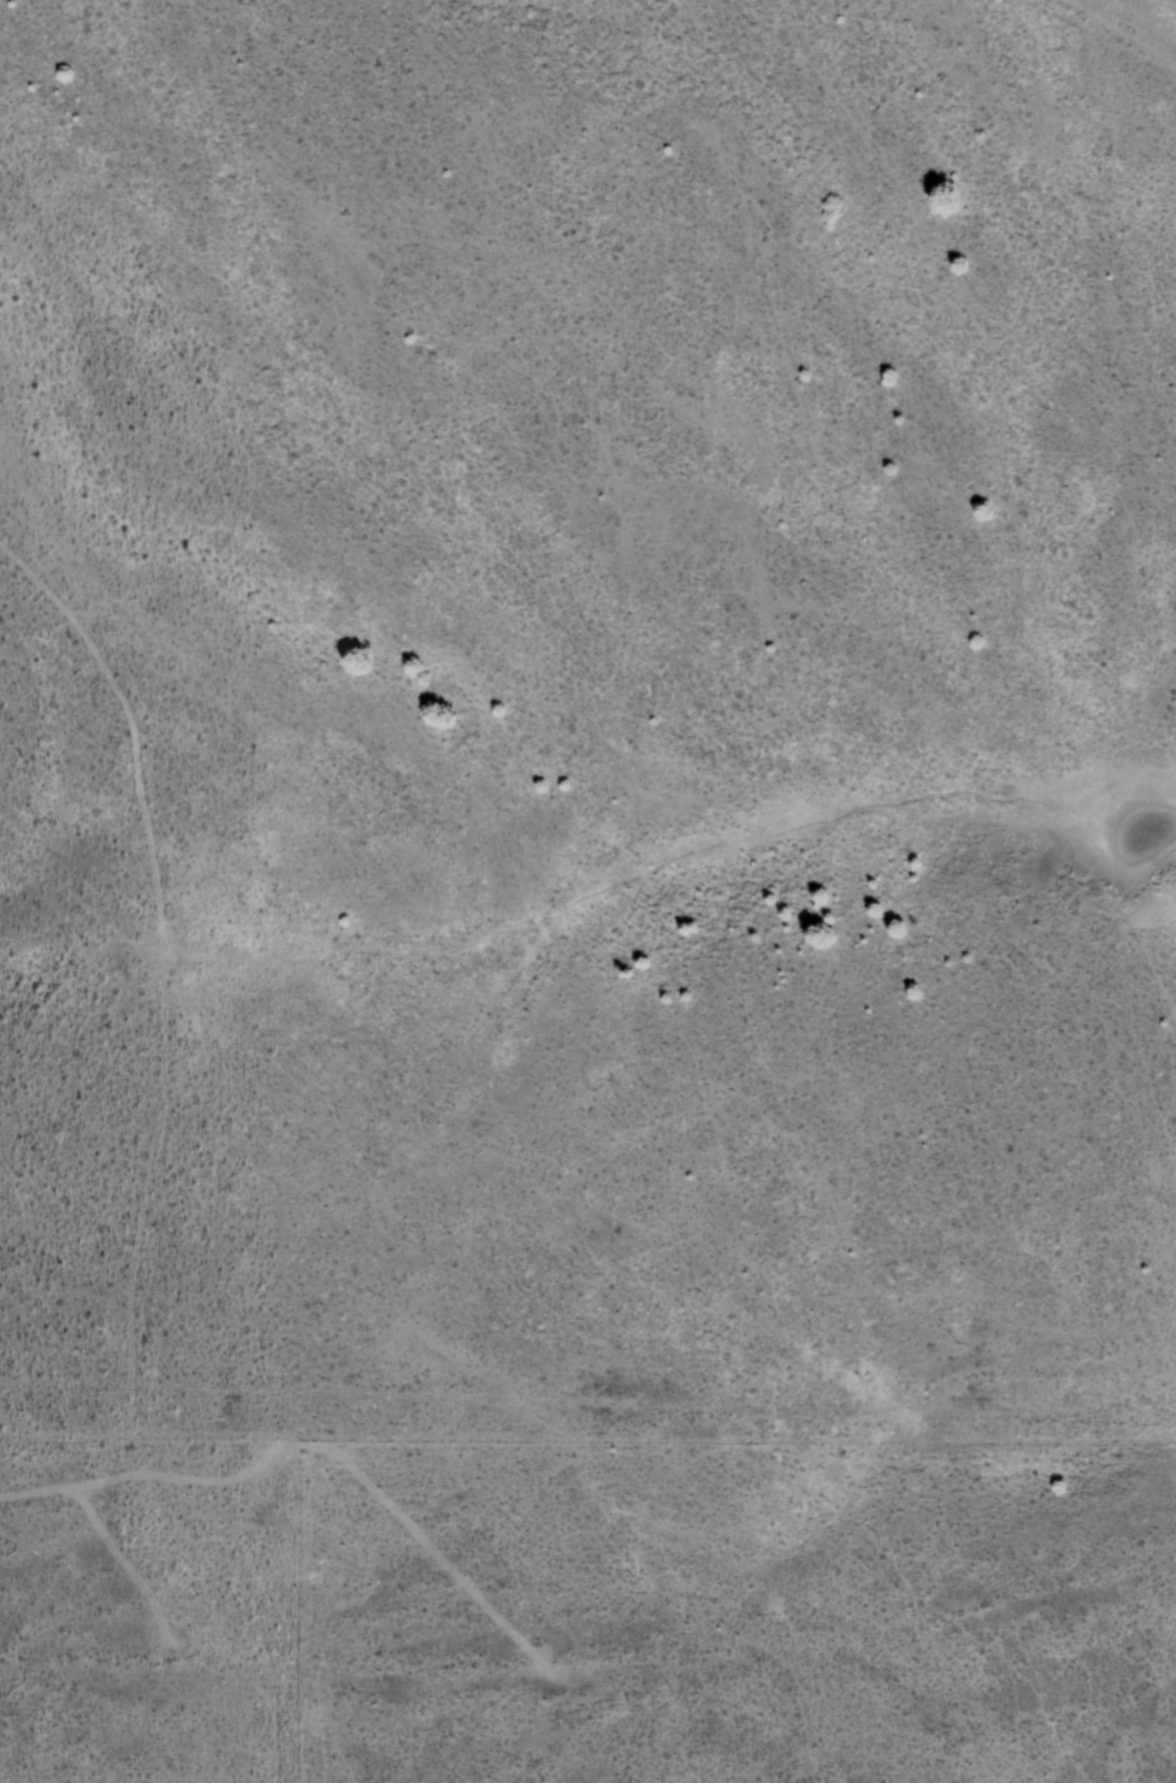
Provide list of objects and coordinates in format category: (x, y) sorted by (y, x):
road: (1053, 49)

